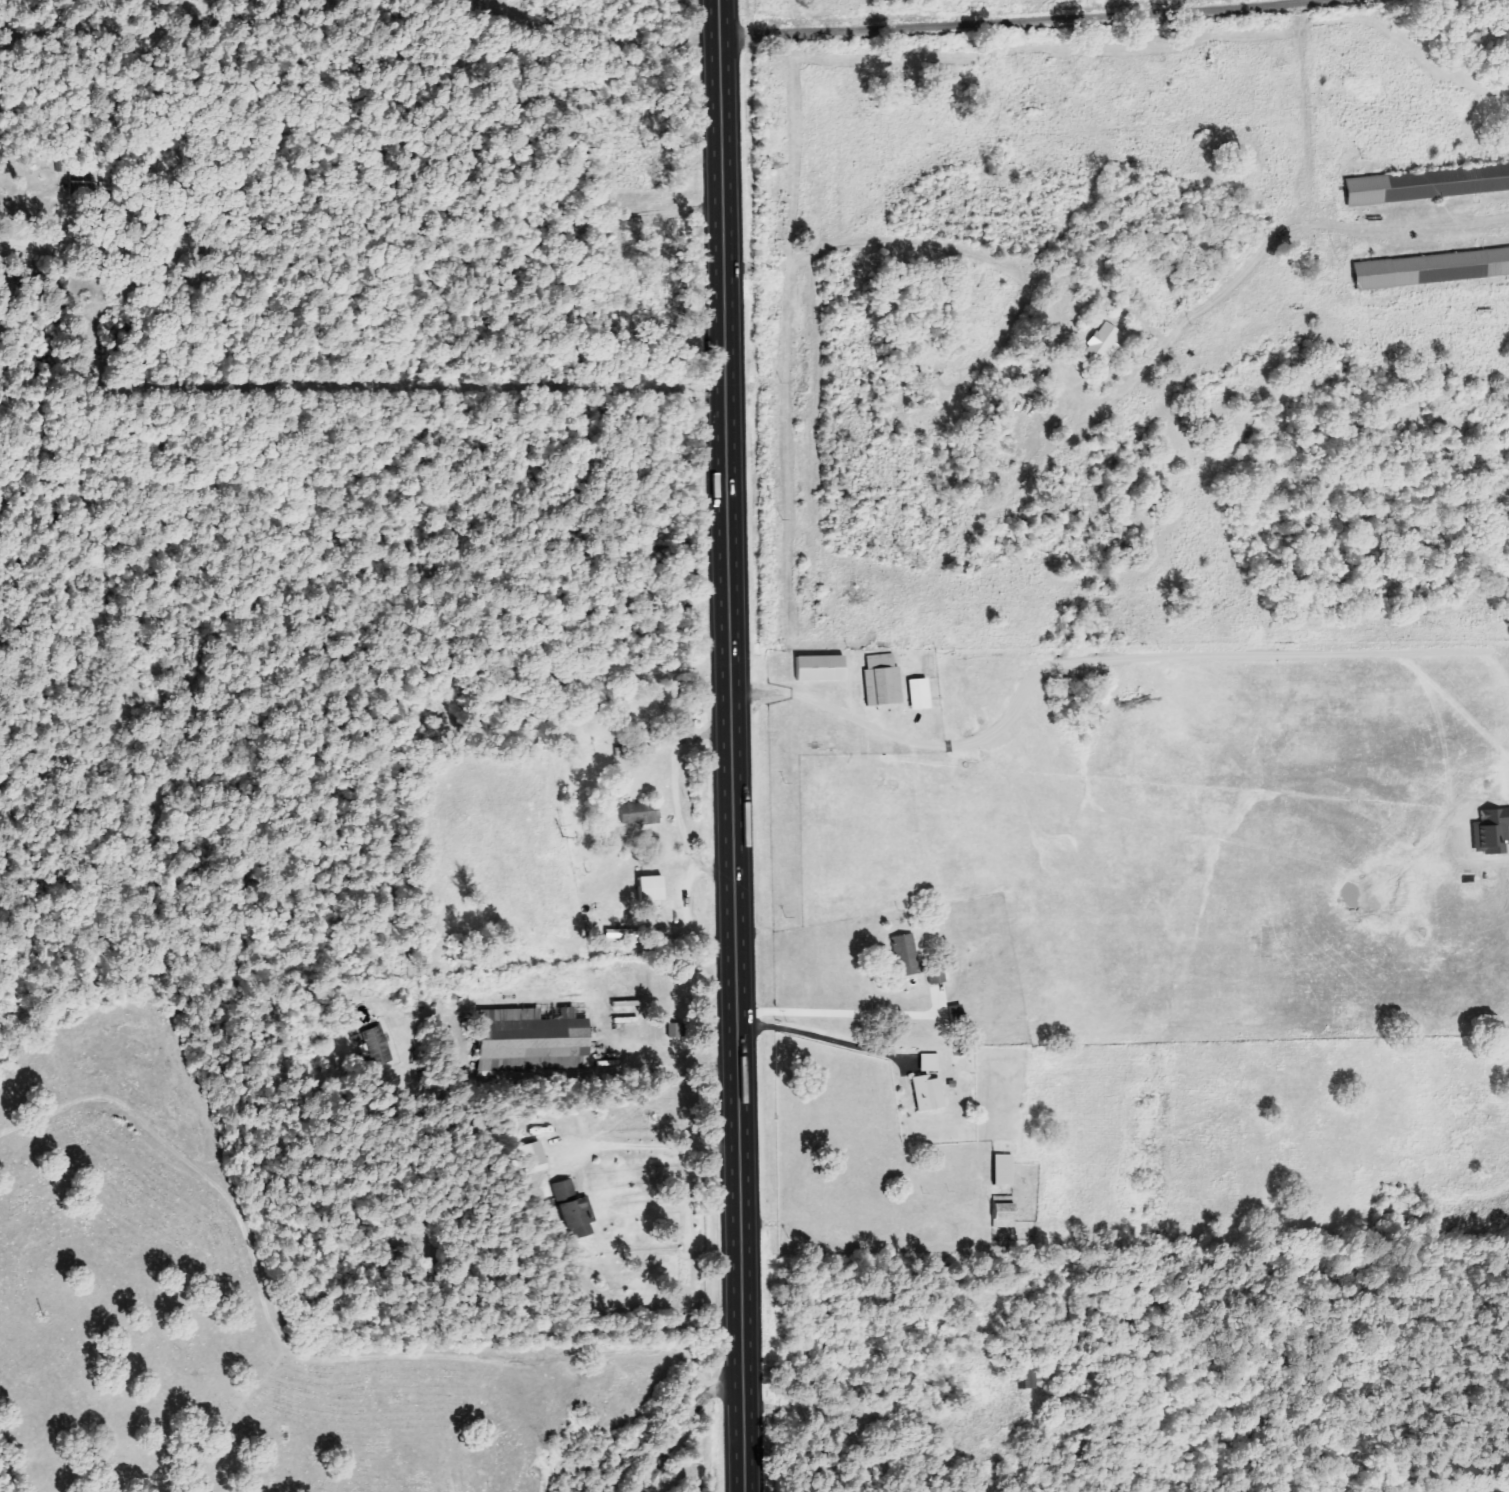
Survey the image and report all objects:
road: (813, 16)
road: (1014, 20)
building: (1402, 187)
road: (924, 251)
building: (1434, 268)
building: (1106, 343)
building: (824, 669)
building: (885, 680)
building: (923, 694)
road: (732, 746)
building: (643, 813)
building: (656, 889)
building: (909, 955)
building: (536, 1038)
building: (380, 1044)
building: (933, 1063)
building: (932, 1093)
road: (653, 1145)
building: (544, 1158)
building: (1007, 1170)
building: (573, 1189)
building: (1008, 1216)
building: (584, 1217)
road: (680, 1425)

